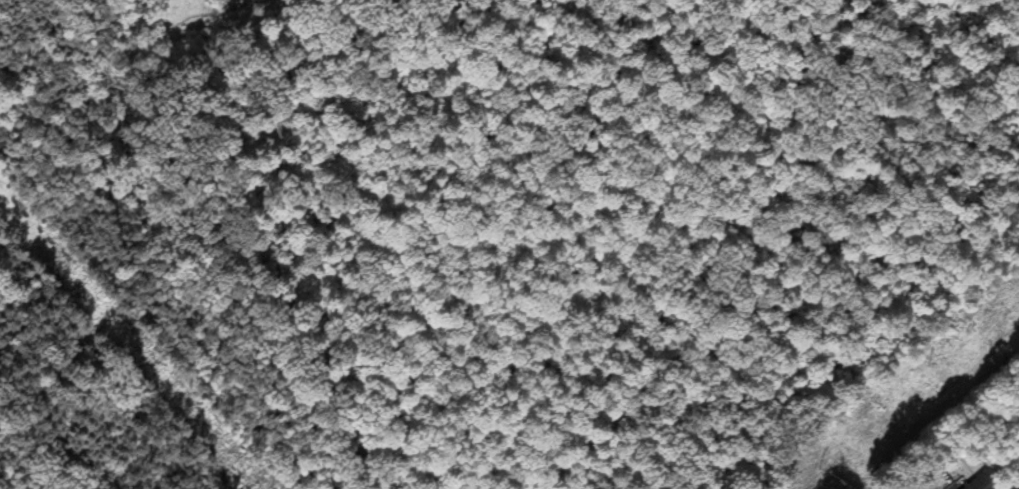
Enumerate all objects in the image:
building: (978, 482)

